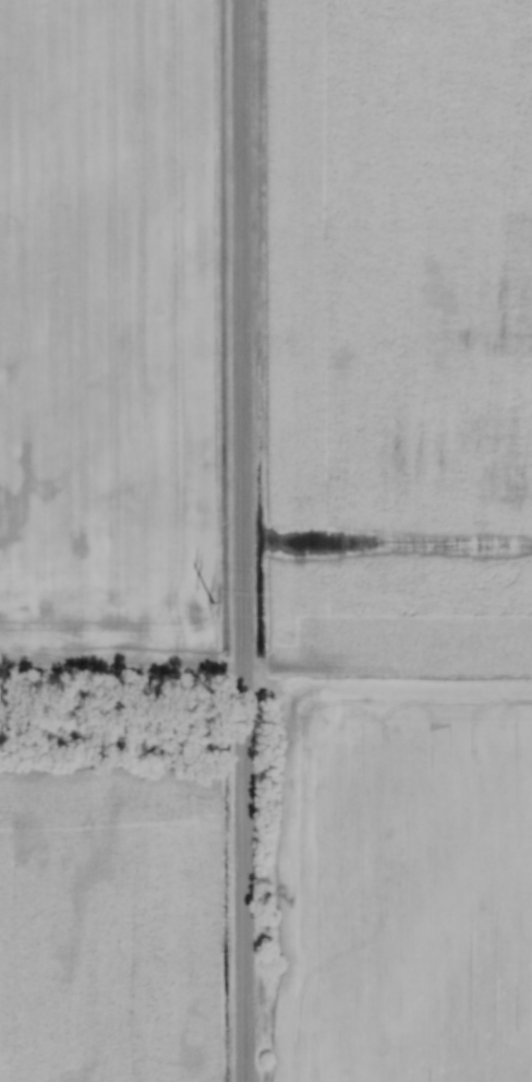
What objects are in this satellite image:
road: (237, 540)
power tower: (209, 602)

